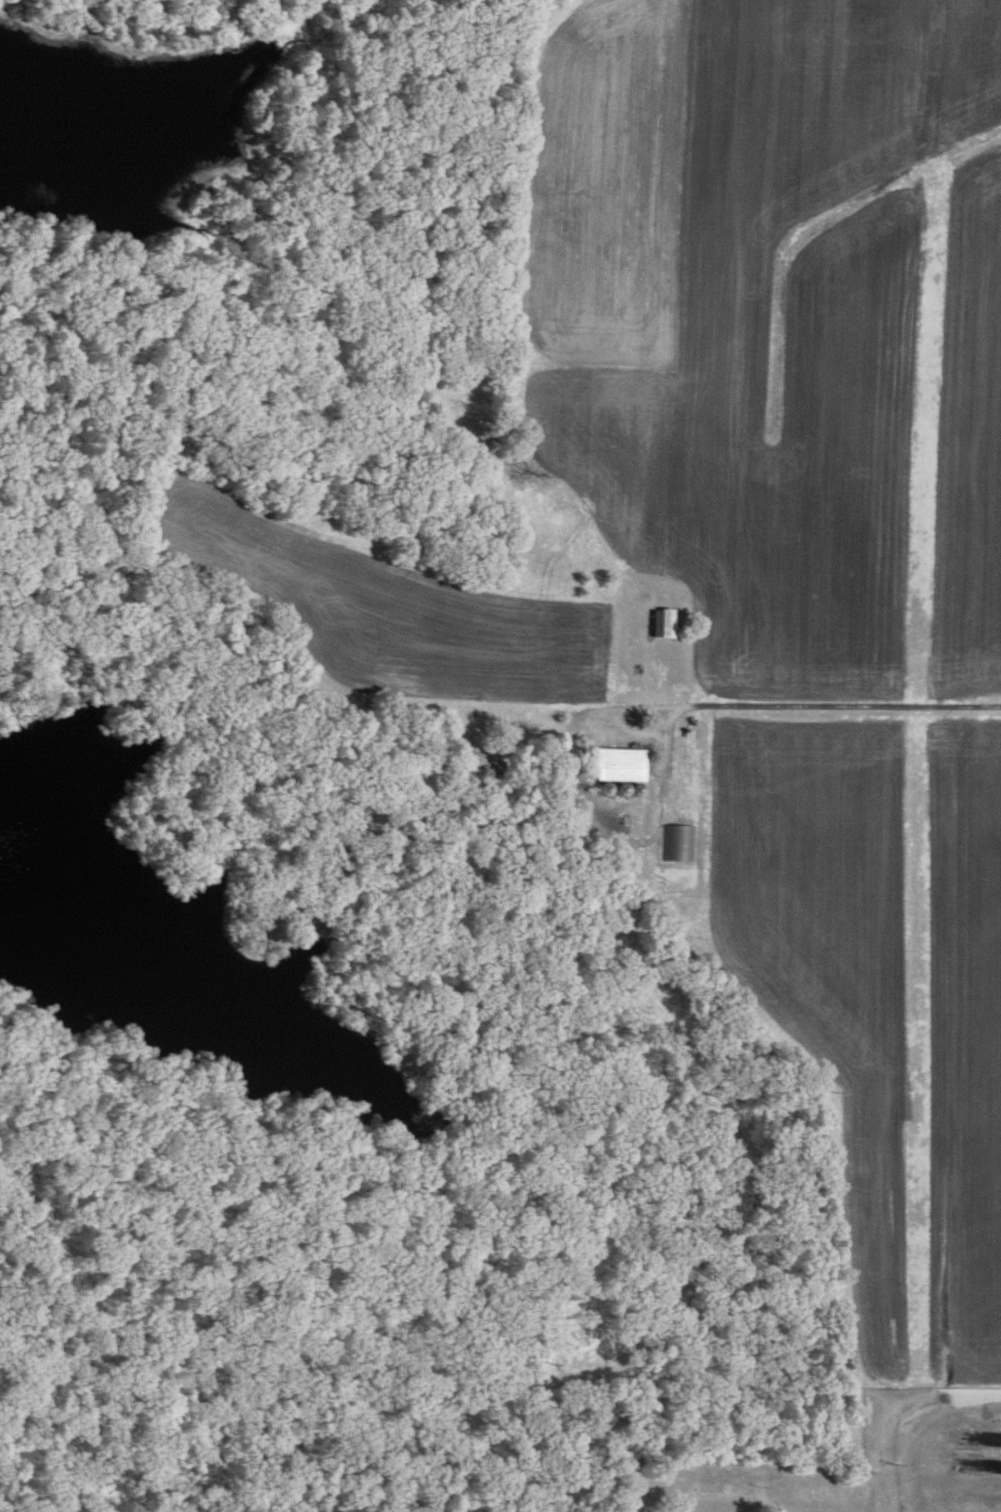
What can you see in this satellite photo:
building: (669, 626)
road: (721, 704)
building: (484, 765)
building: (622, 765)
building: (678, 844)

